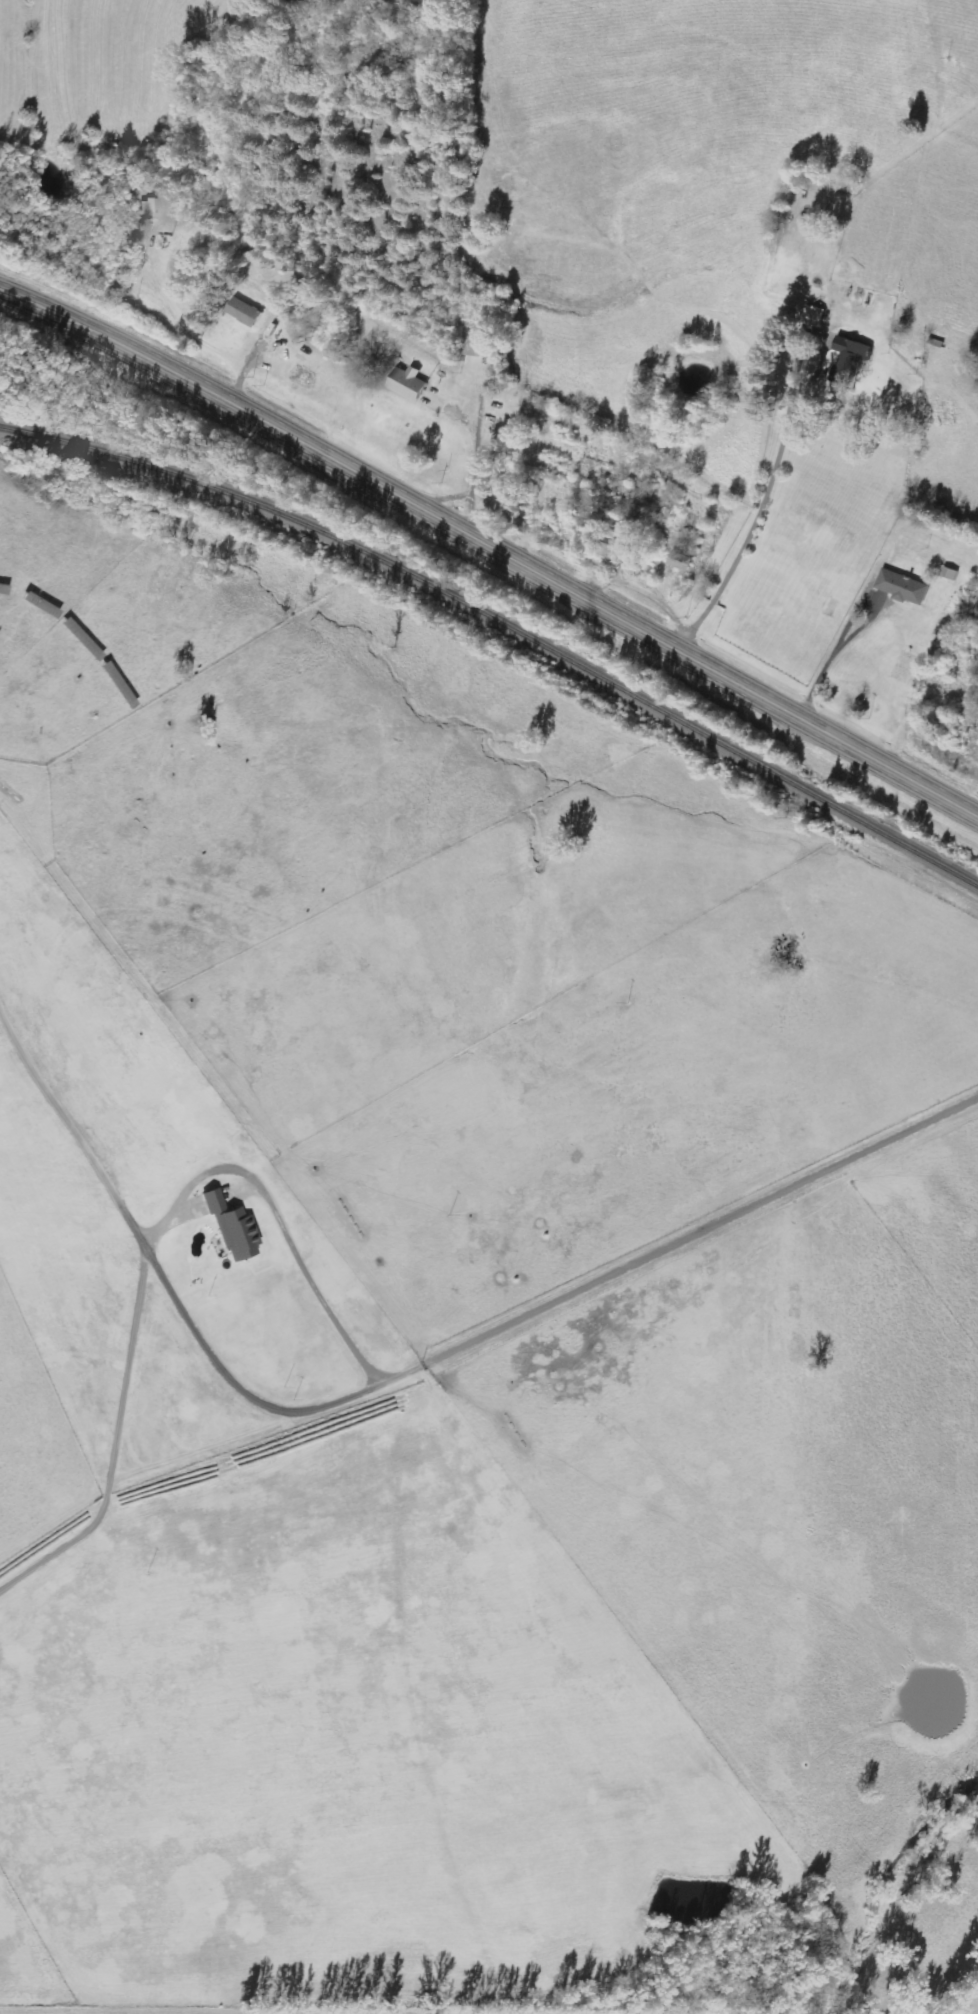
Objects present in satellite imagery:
building: (149, 208)
building: (244, 312)
building: (814, 316)
building: (478, 344)
building: (847, 358)
building: (407, 383)
road: (475, 456)
road: (753, 529)
road: (491, 547)
building: (609, 551)
building: (681, 562)
building: (902, 587)
building: (40, 605)
railway: (502, 622)
building: (212, 1201)
building: (237, 1234)
road: (394, 1387)

